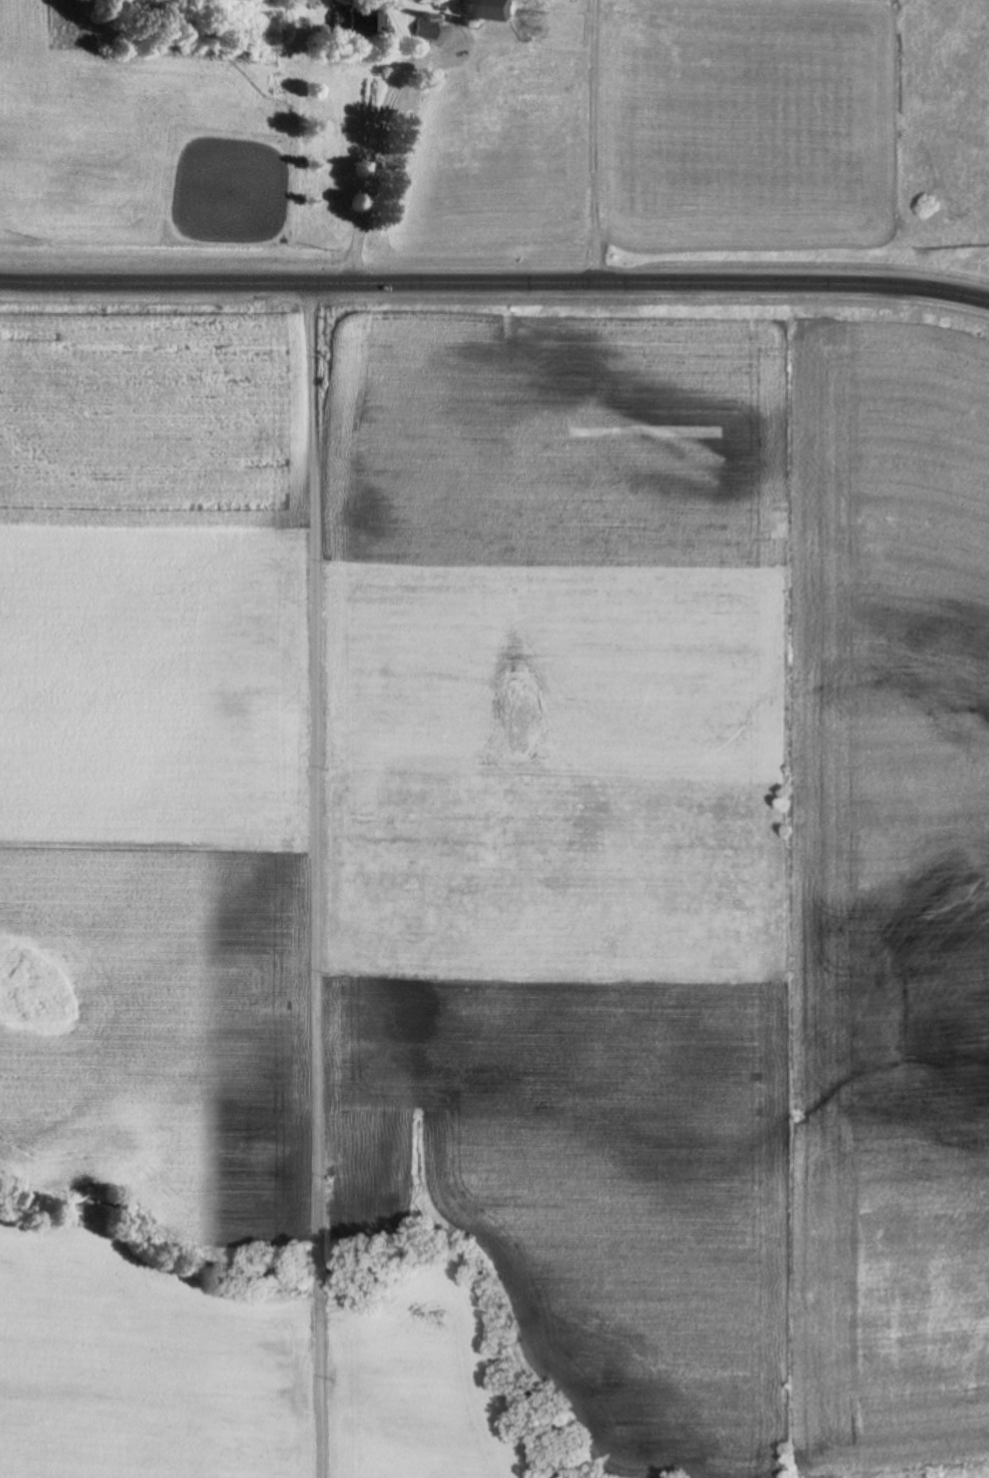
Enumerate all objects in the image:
building: (491, 7)
building: (360, 10)
building: (363, 27)
road: (381, 145)
road: (495, 279)
road: (289, 878)

